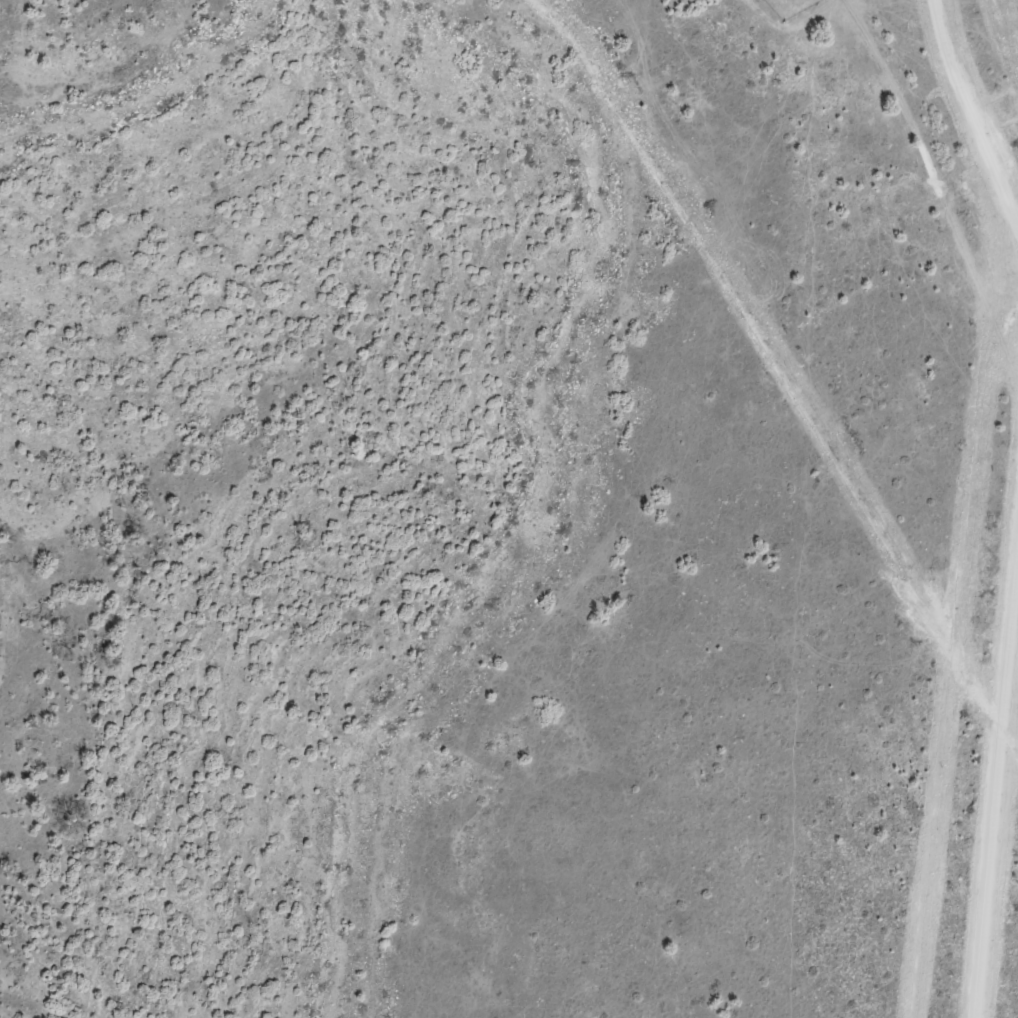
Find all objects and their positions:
road: (832, 19)
road: (954, 100)

